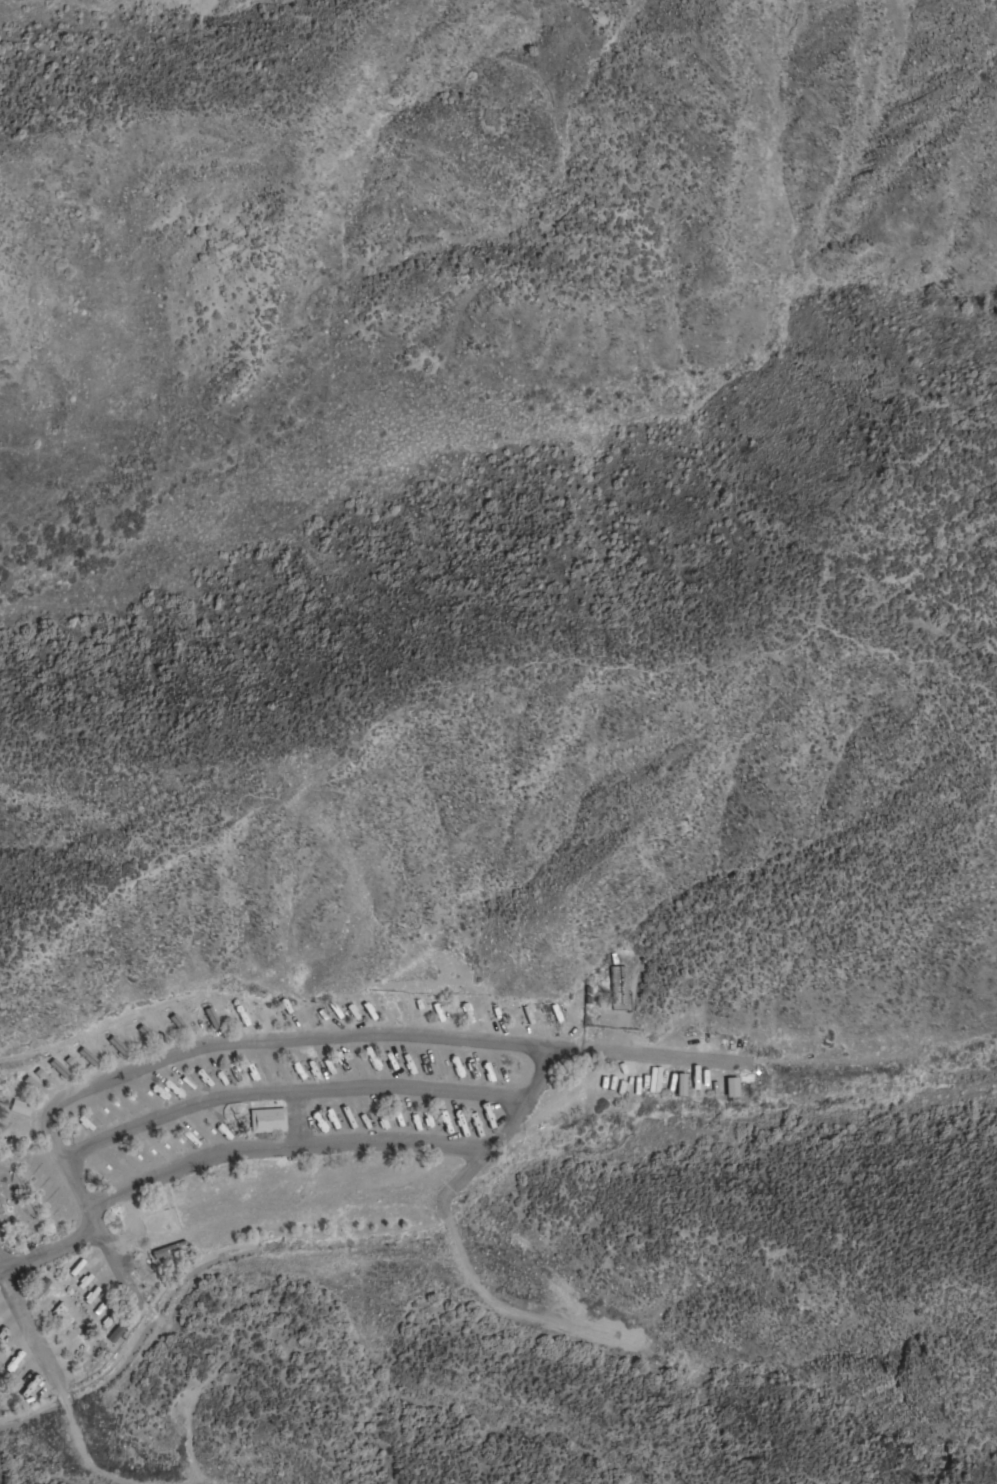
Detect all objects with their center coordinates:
building: (618, 985)
building: (211, 1018)
building: (177, 1023)
building: (146, 1034)
road: (495, 1042)
building: (116, 1045)
building: (87, 1056)
building: (58, 1068)
building: (500, 1072)
building: (656, 1078)
building: (651, 1079)
building: (679, 1084)
building: (34, 1085)
building: (730, 1087)
building: (20, 1107)
building: (266, 1120)
building: (168, 1249)
road: (46, 1251)
building: (39, 1288)
building: (90, 1295)
road: (29, 1329)
building: (116, 1331)

